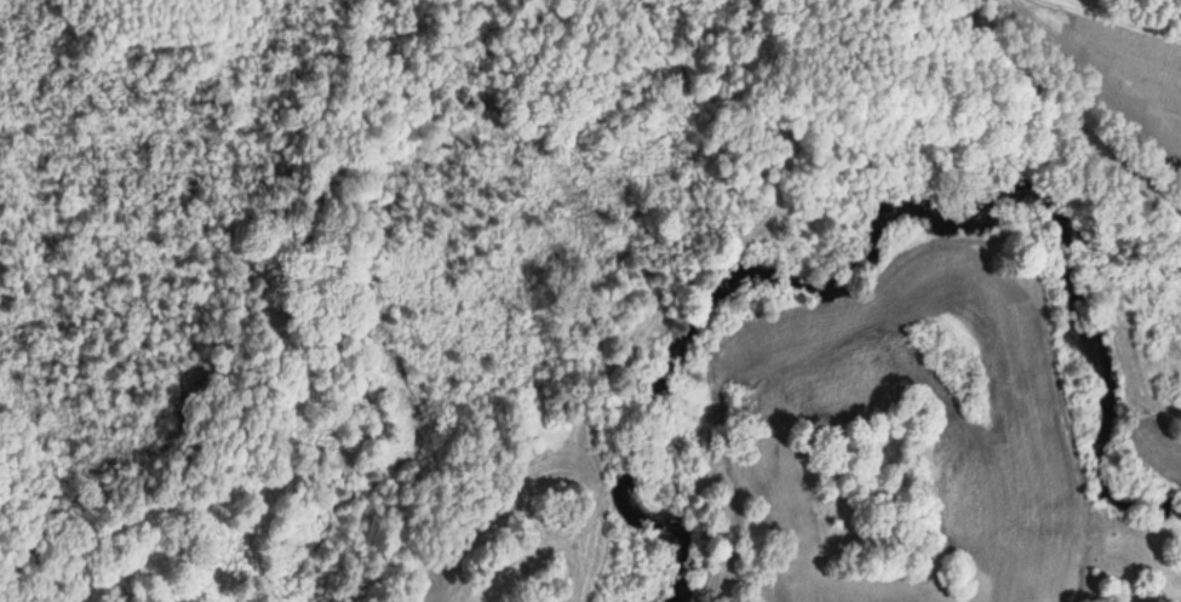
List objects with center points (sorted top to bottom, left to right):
road: (980, 17)
road: (1055, 104)
river: (877, 229)

